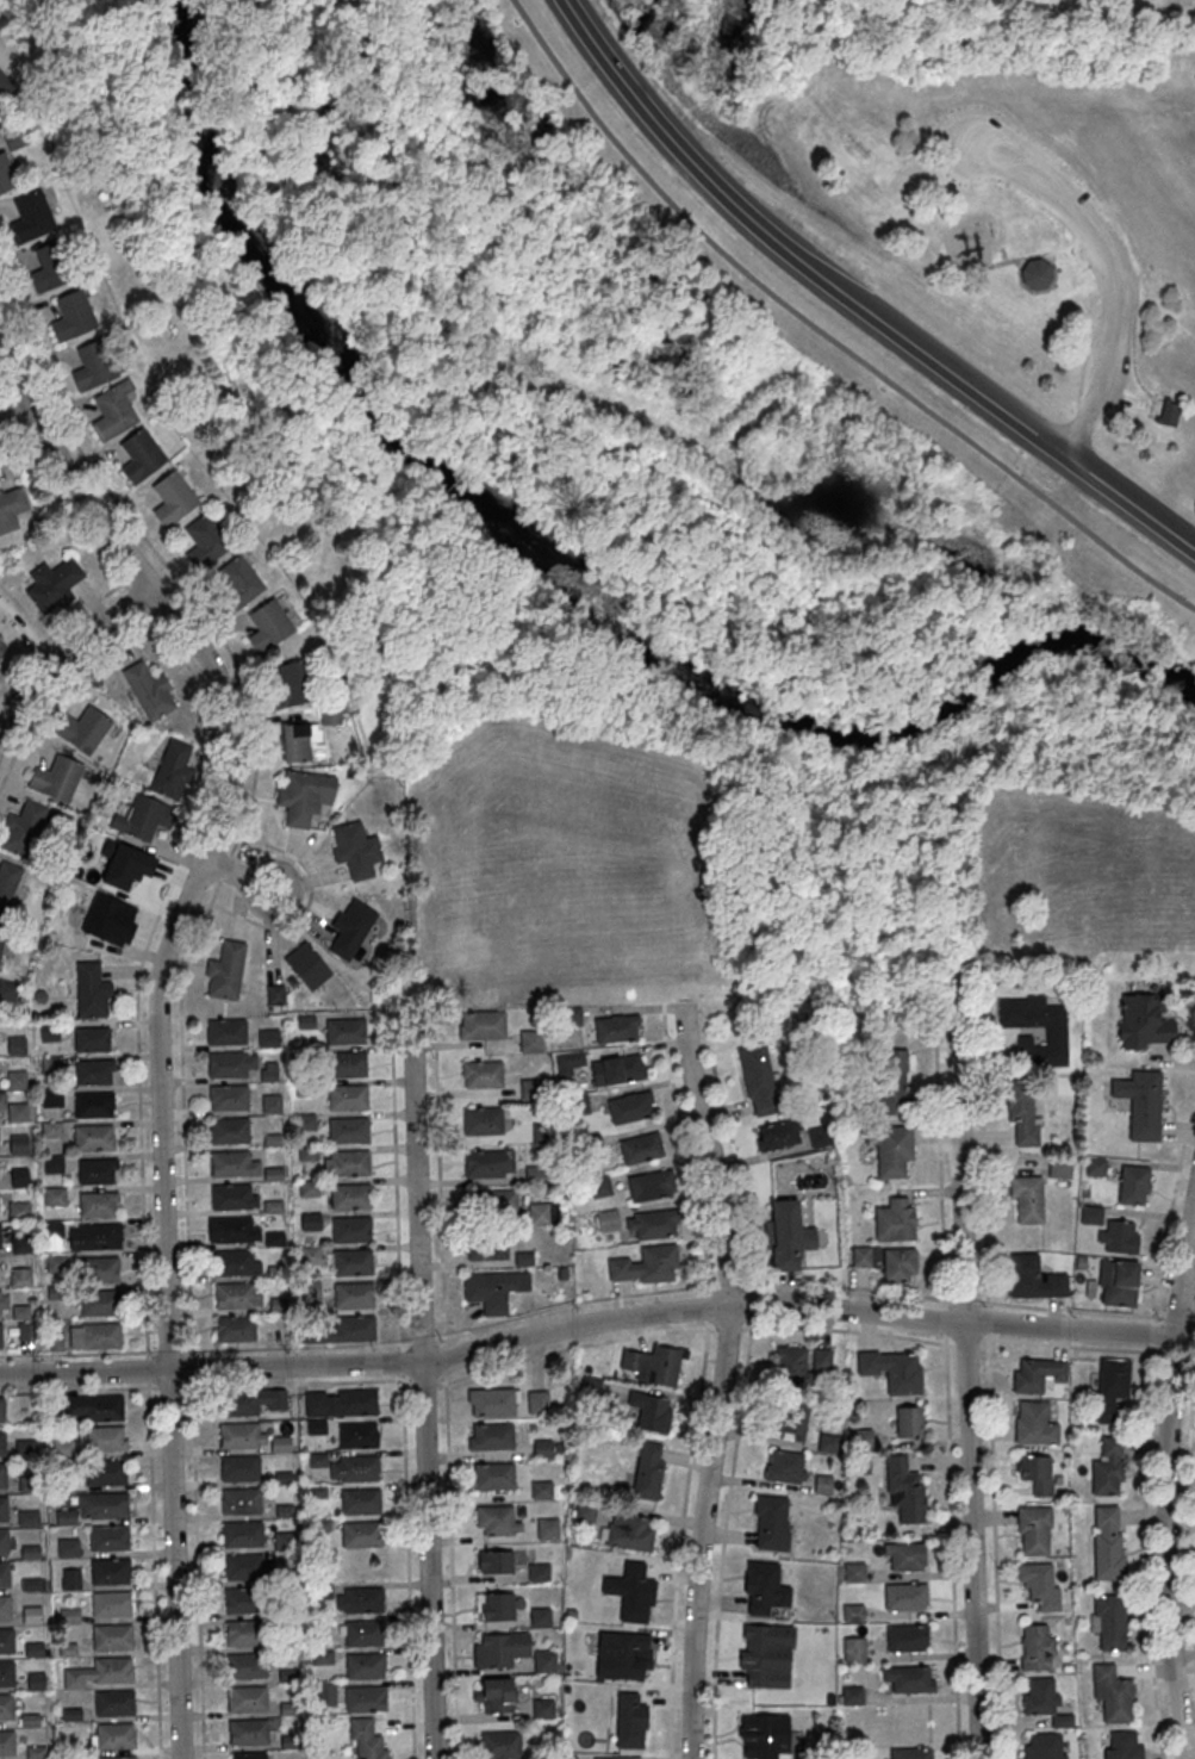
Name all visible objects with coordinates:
river: (186, 0)
building: (5, 85)
building: (17, 137)
road: (1020, 167)
building: (6, 174)
park: (1007, 207)
road: (1140, 211)
building: (32, 216)
road: (1083, 247)
road: (1029, 254)
parking lot: (1097, 256)
building: (52, 267)
building: (1034, 272)
road: (1124, 298)
road: (851, 302)
building: (74, 315)
river: (307, 321)
road: (824, 335)
road: (1132, 362)
building: (94, 363)
road: (17, 371)
road: (6, 377)
road: (1171, 392)
road: (1154, 396)
building: (1165, 409)
road: (18, 412)
building: (113, 412)
road: (1075, 423)
road: (471, 436)
road: (46, 442)
road: (20, 454)
building: (141, 455)
road: (1178, 476)
building: (173, 497)
building: (13, 505)
park: (641, 509)
road: (1149, 515)
building: (205, 540)
road: (1128, 545)
road: (1050, 570)
building: (238, 584)
building: (52, 585)
road: (1096, 617)
building: (269, 626)
road: (64, 627)
road: (967, 632)
building: (1, 647)
road: (67, 651)
river: (1004, 661)
river: (674, 672)
road: (66, 683)
building: (291, 684)
building: (150, 690)
building: (330, 715)
building: (82, 731)
building: (298, 740)
building: (173, 769)
building: (56, 779)
building: (303, 795)
building: (141, 818)
road: (223, 827)
building: (23, 828)
building: (355, 849)
building: (126, 866)
road: (237, 875)
building: (7, 883)
road: (194, 897)
road: (307, 905)
building: (111, 920)
building: (350, 927)
building: (1, 939)
building: (306, 965)
road: (185, 969)
building: (224, 971)
building: (92, 990)
building: (274, 994)
road: (156, 999)
road: (636, 1011)
road: (363, 1014)
building: (1143, 1021)
building: (483, 1025)
road: (137, 1028)
building: (616, 1028)
building: (346, 1031)
building: (1056, 1031)
building: (226, 1032)
building: (268, 1037)
building: (94, 1039)
building: (530, 1040)
building: (566, 1062)
building: (50, 1063)
building: (228, 1064)
building: (347, 1064)
building: (617, 1069)
building: (94, 1073)
building: (483, 1075)
building: (15, 1079)
building: (758, 1079)
building: (892, 1080)
building: (530, 1088)
building: (229, 1098)
building: (348, 1098)
building: (2, 1100)
building: (1141, 1102)
building: (270, 1104)
building: (94, 1105)
building: (630, 1106)
building: (17, 1112)
building: (1022, 1114)
building: (483, 1120)
building: (349, 1130)
building: (230, 1131)
building: (777, 1135)
building: (94, 1138)
building: (18, 1144)
building: (641, 1148)
building: (890, 1148)
road: (982, 1152)
road: (940, 1158)
building: (350, 1163)
building: (484, 1163)
building: (52, 1164)
building: (231, 1164)
building: (1096, 1166)
building: (1059, 1168)
building: (98, 1170)
building: (19, 1176)
road: (440, 1177)
road: (397, 1183)
building: (651, 1185)
building: (1133, 1185)
building: (599, 1186)
building: (55, 1197)
building: (231, 1197)
building: (350, 1197)
building: (1026, 1199)
building: (487, 1202)
building: (98, 1205)
building: (19, 1210)
building: (543, 1213)
building: (608, 1219)
building: (895, 1219)
building: (310, 1222)
building: (651, 1224)
building: (232, 1229)
building: (353, 1230)
building: (788, 1235)
building: (98, 1236)
building: (1118, 1236)
building: (0, 1238)
building: (20, 1244)
building: (487, 1247)
building: (311, 1255)
building: (860, 1256)
building: (354, 1262)
building: (55, 1263)
building: (234, 1263)
building: (646, 1264)
building: (900, 1264)
building: (100, 1270)
building: (20, 1278)
building: (1033, 1278)
building: (1118, 1282)
road: (729, 1283)
road: (847, 1288)
building: (491, 1291)
road: (1188, 1294)
building: (235, 1295)
building: (354, 1295)
building: (101, 1303)
road: (966, 1303)
building: (0, 1305)
road: (1071, 1311)
building: (21, 1312)
road: (987, 1319)
road: (1180, 1319)
road: (596, 1322)
road: (945, 1322)
road: (728, 1328)
building: (236, 1329)
building: (355, 1329)
road: (847, 1330)
building: (0, 1336)
building: (102, 1336)
road: (969, 1341)
road: (361, 1347)
road: (574, 1348)
road: (1072, 1348)
road: (1176, 1353)
road: (1191, 1353)
road: (444, 1359)
building: (821, 1359)
road: (403, 1362)
building: (654, 1363)
building: (790, 1365)
building: (892, 1369)
building: (1037, 1374)
road: (967, 1376)
road: (422, 1380)
road: (724, 1380)
road: (702, 1381)
building: (591, 1382)
road: (204, 1386)
road: (422, 1386)
building: (1113, 1390)
building: (357, 1401)
building: (238, 1403)
building: (316, 1403)
building: (492, 1403)
building: (539, 1403)
road: (742, 1404)
building: (97, 1407)
building: (2, 1410)
building: (651, 1411)
building: (791, 1419)
building: (908, 1421)
building: (1034, 1423)
building: (316, 1427)
building: (239, 1436)
building: (359, 1436)
building: (491, 1437)
building: (107, 1438)
building: (827, 1441)
building: (2, 1443)
building: (280, 1444)
road: (1147, 1444)
building: (63, 1448)
building: (318, 1460)
building: (785, 1466)
building: (241, 1468)
building: (360, 1468)
building: (1107, 1468)
building: (648, 1472)
road: (1163, 1472)
building: (106, 1473)
building: (1034, 1473)
building: (4, 1477)
building: (493, 1477)
building: (823, 1484)
building: (541, 1490)
building: (904, 1490)
building: (242, 1502)
building: (361, 1502)
building: (105, 1505)
building: (4, 1509)
road: (1189, 1509)
building: (583, 1511)
building: (67, 1517)
building: (496, 1519)
building: (772, 1523)
building: (548, 1530)
building: (1033, 1530)
building: (629, 1531)
building: (242, 1534)
building: (362, 1534)
building: (111, 1540)
building: (5, 1542)
building: (1107, 1542)
building: (285, 1543)
road: (995, 1544)
road: (952, 1546)
building: (69, 1548)
building: (910, 1558)
building: (494, 1561)
road: (452, 1565)
road: (409, 1566)
building: (243, 1567)
building: (112, 1572)
building: (853, 1572)
building: (539, 1573)
building: (5, 1575)
building: (70, 1578)
building: (1041, 1585)
building: (761, 1586)
building: (323, 1591)
building: (633, 1592)
building: (904, 1597)
building: (244, 1600)
building: (363, 1600)
building: (111, 1604)
building: (494, 1606)
building: (6, 1608)
building: (852, 1612)
building: (32, 1615)
building: (541, 1617)
building: (1109, 1621)
building: (245, 1633)
building: (365, 1634)
building: (112, 1637)
building: (907, 1639)
building: (6, 1641)
building: (284, 1642)
building: (1037, 1647)
building: (498, 1648)
building: (33, 1649)
building: (853, 1649)
building: (623, 1654)
building: (765, 1655)
building: (323, 1658)
building: (543, 1664)
building: (247, 1666)
building: (366, 1666)
building: (100, 1673)
building: (7, 1674)
building: (288, 1676)
building: (36, 1680)
building: (911, 1680)
building: (1112, 1692)
building: (325, 1693)
building: (494, 1693)
building: (851, 1695)
building: (1039, 1697)
building: (248, 1699)
building: (366, 1699)
building: (114, 1703)
building: (7, 1708)
building: (288, 1709)
building: (543, 1709)
building: (630, 1721)
building: (248, 1732)
building: (766, 1733)
building: (117, 1738)
building: (367, 1740)
building: (291, 1742)
building: (8, 1744)
building: (1122, 1744)
building: (502, 1746)
building: (1044, 1746)
building: (910, 1753)
building: (249, 1757)
building: (118, 1758)
building: (625, 1758)

